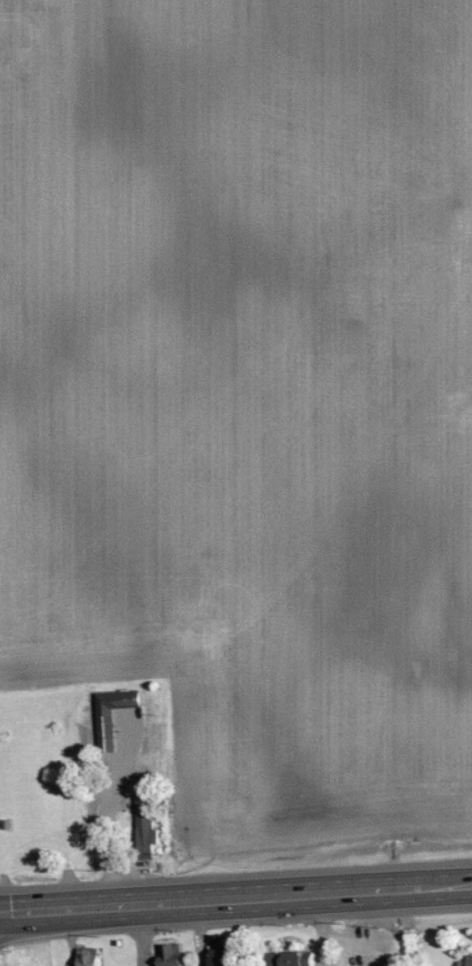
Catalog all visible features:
building: (109, 714)
road: (106, 823)
building: (143, 828)
road: (235, 900)
road: (321, 931)
road: (199, 934)
road: (140, 936)
building: (216, 952)
building: (170, 955)
building: (85, 957)
building: (288, 958)
building: (466, 961)

